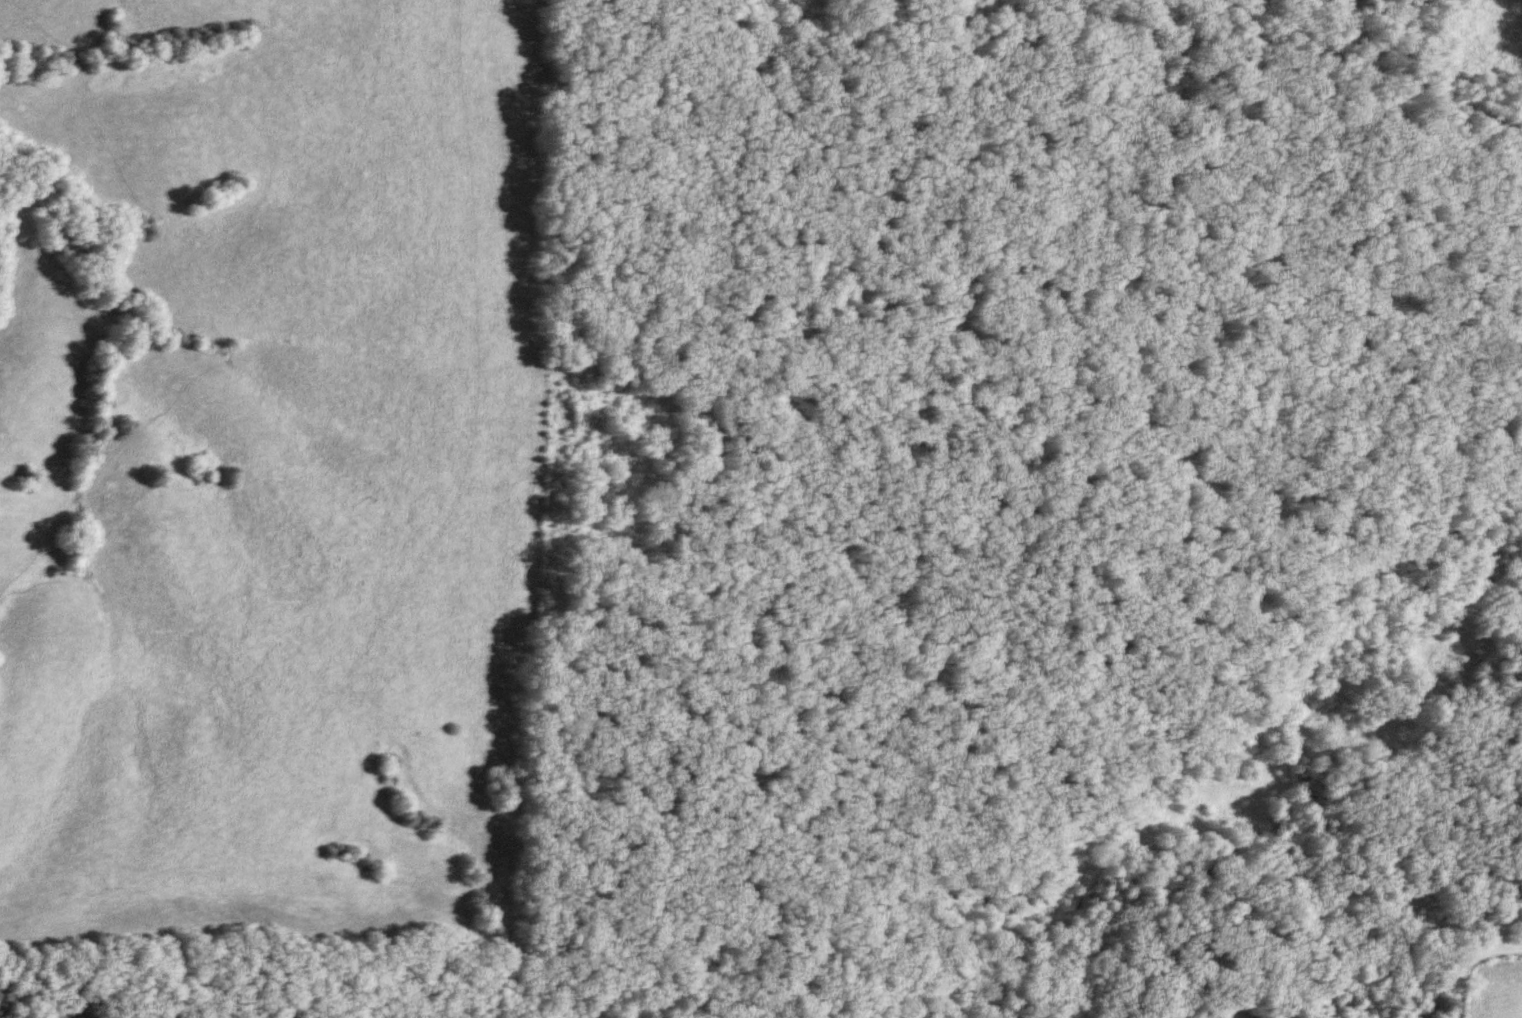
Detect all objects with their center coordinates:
road: (1468, 964)

